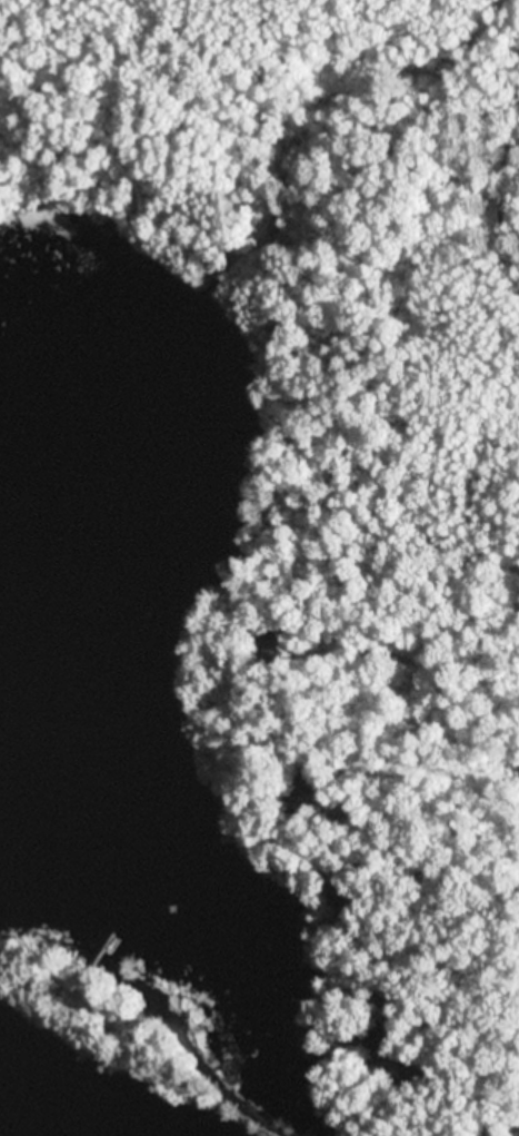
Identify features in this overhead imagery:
road: (369, 601)
road: (379, 678)
road: (391, 780)
building: (184, 842)
building: (81, 988)
road: (418, 989)
building: (378, 1047)

